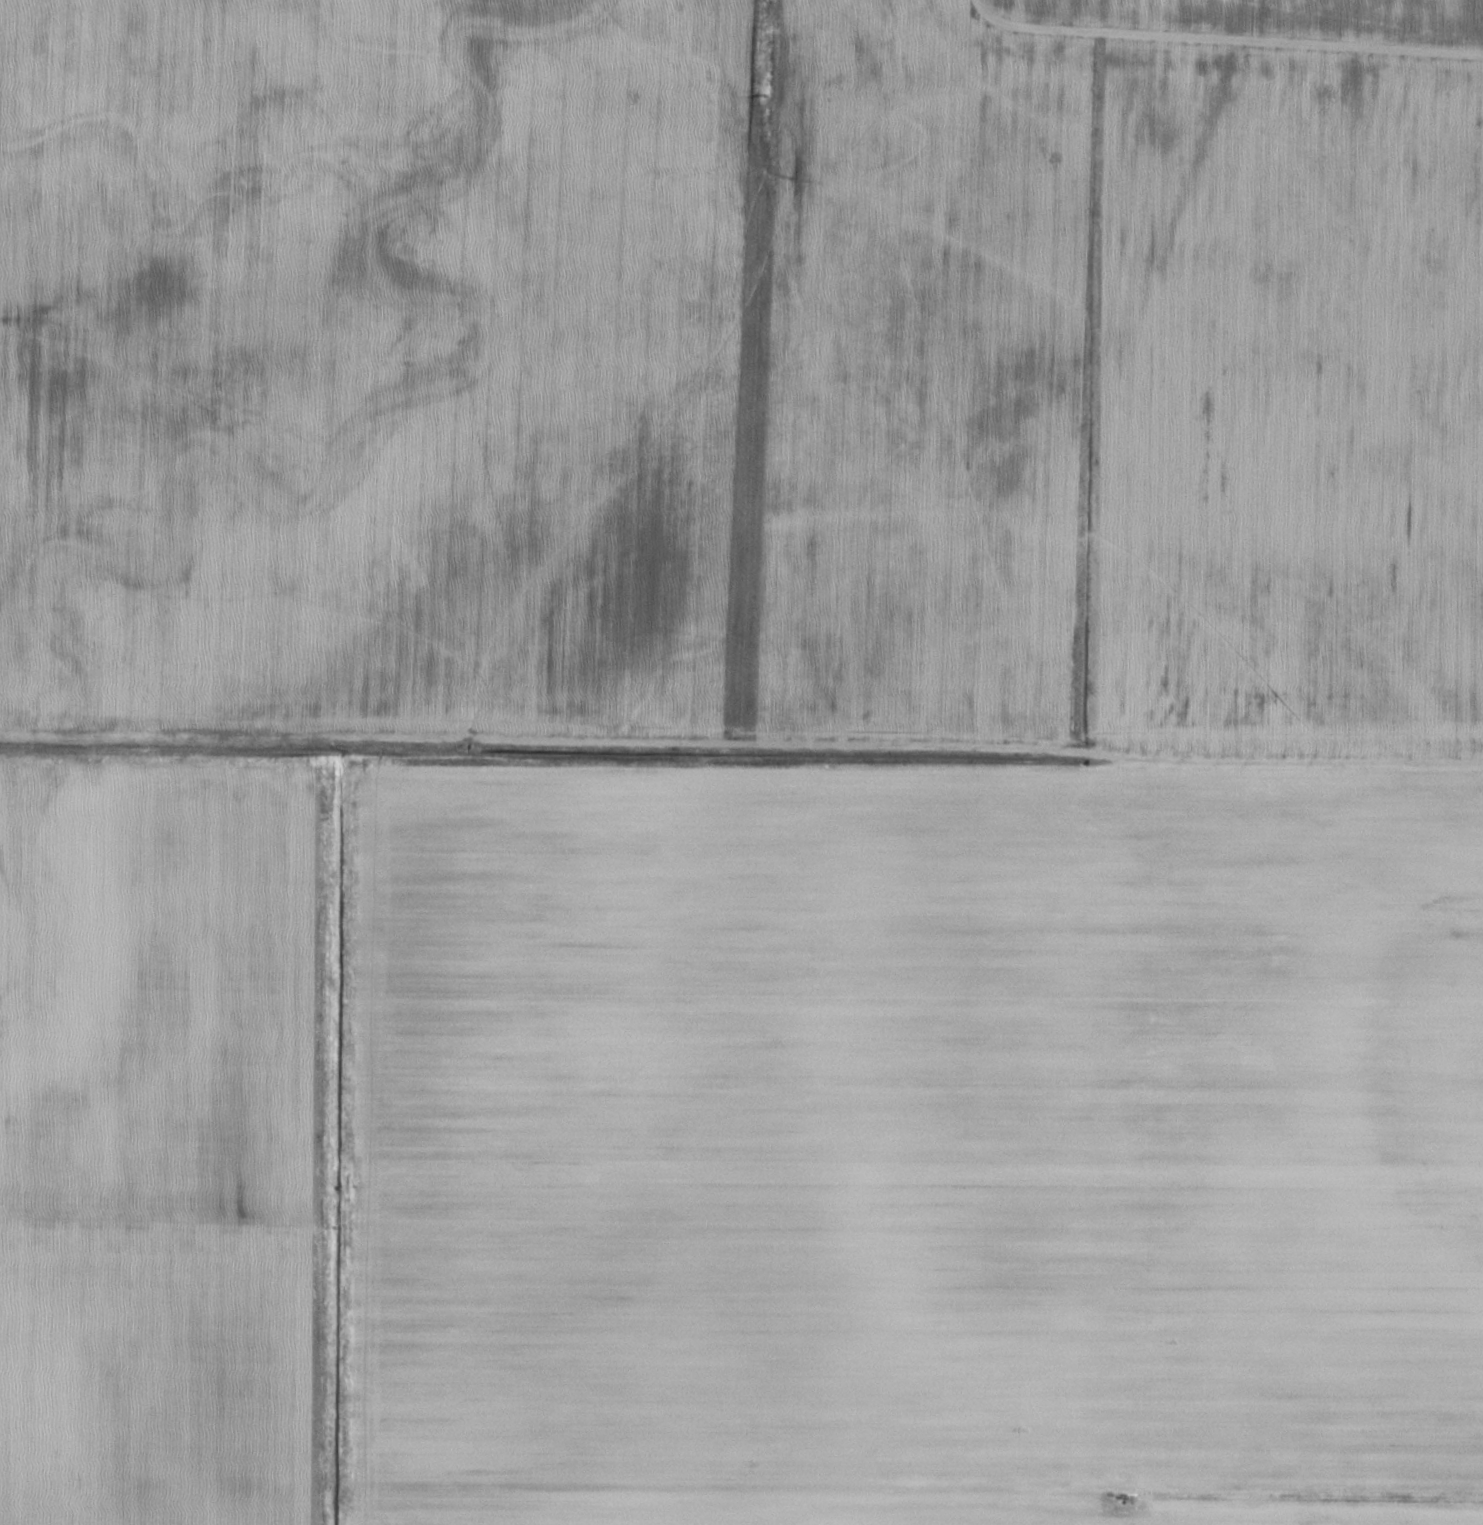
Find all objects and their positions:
road: (1225, 44)
road: (742, 744)
road: (1300, 1493)

